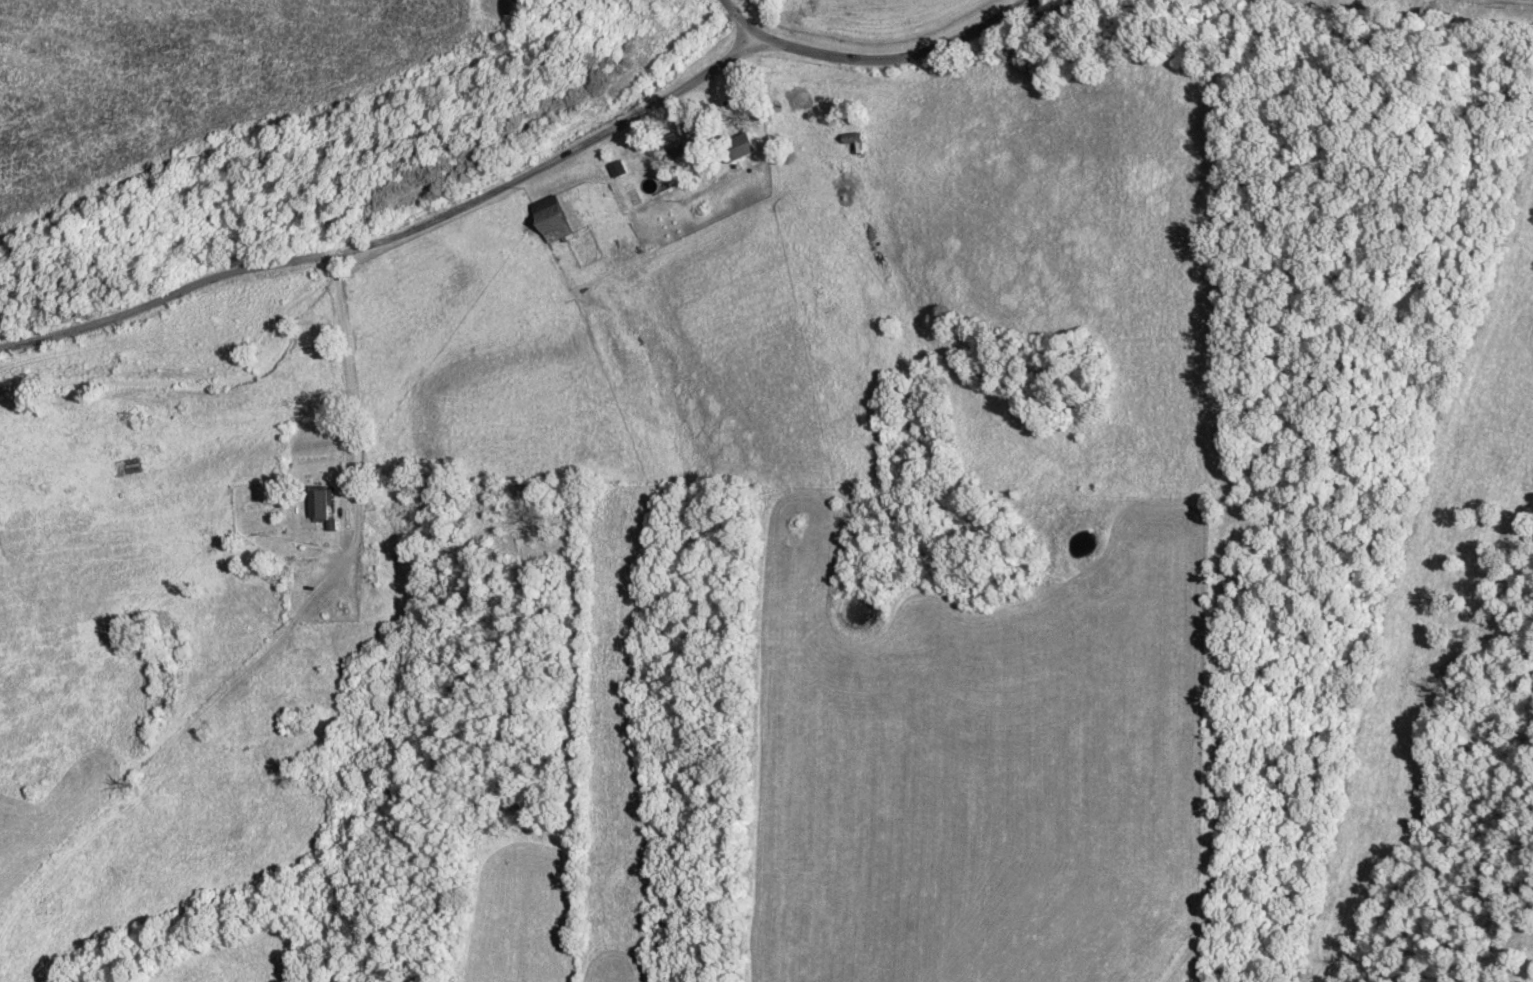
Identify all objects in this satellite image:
road: (742, 20)
building: (677, 142)
building: (734, 147)
road: (520, 176)
building: (549, 220)
road: (345, 365)
building: (317, 502)

